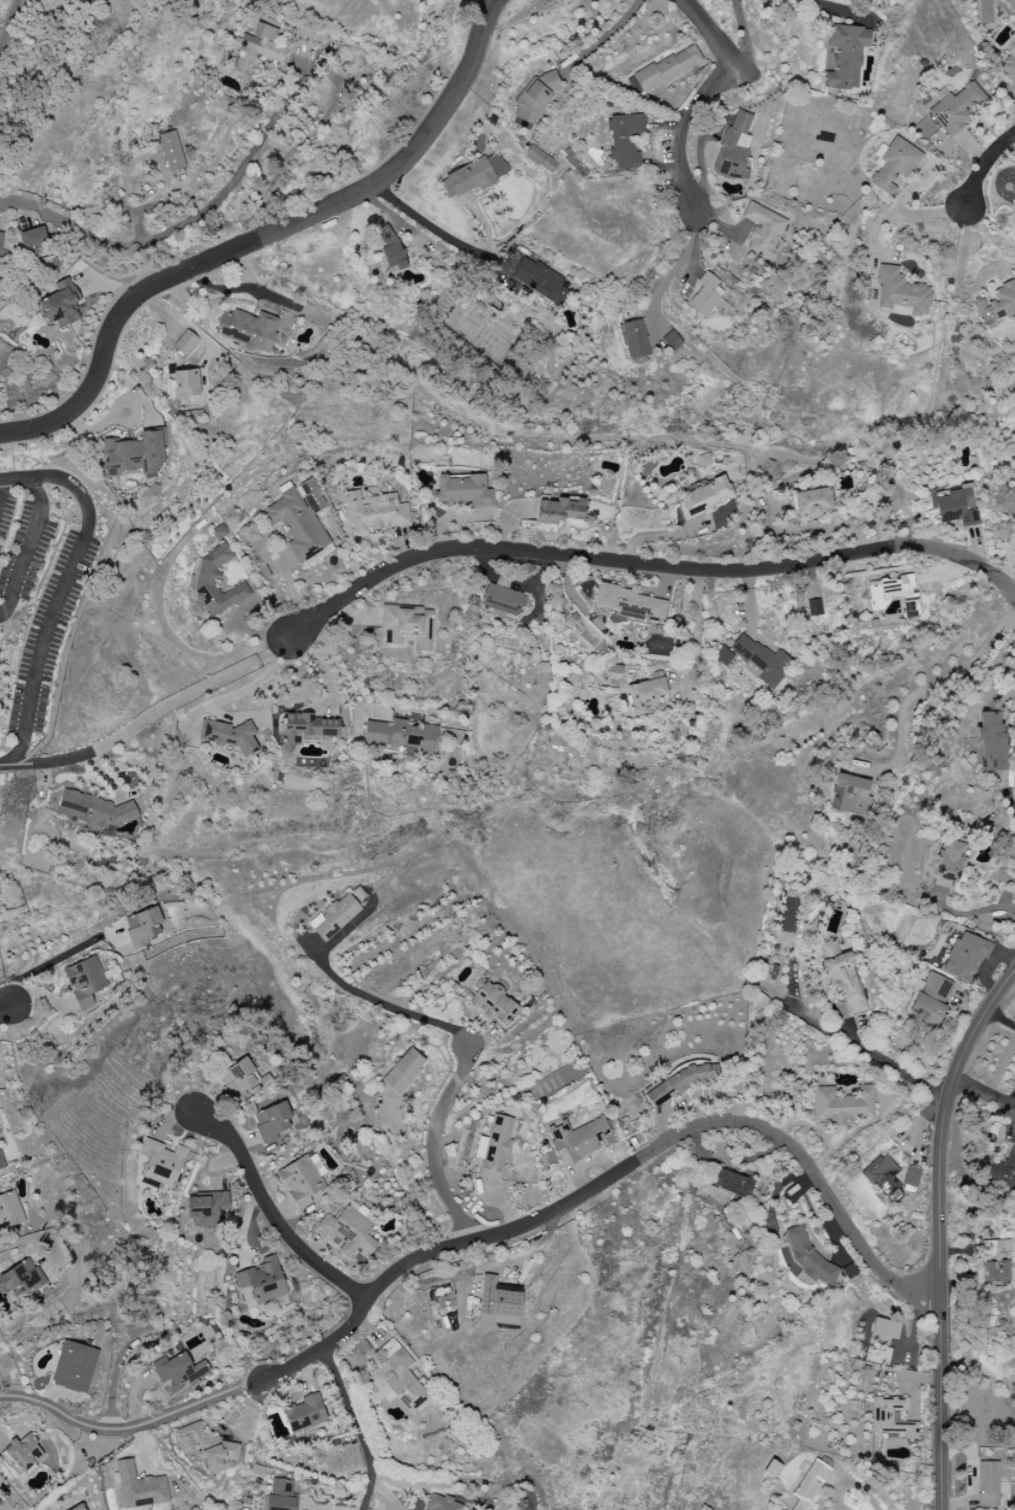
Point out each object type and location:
road: (7, 19)
road: (745, 41)
building: (255, 52)
building: (845, 56)
building: (1008, 66)
building: (667, 68)
road: (697, 105)
building: (955, 108)
building: (624, 140)
road: (1012, 146)
building: (735, 147)
building: (171, 151)
building: (540, 159)
building: (893, 165)
building: (476, 174)
road: (978, 178)
road: (891, 212)
road: (965, 220)
road: (442, 226)
building: (764, 231)
road: (167, 233)
road: (258, 235)
building: (0, 237)
building: (32, 237)
road: (875, 239)
building: (389, 248)
road: (889, 256)
road: (679, 264)
building: (537, 278)
road: (960, 289)
road: (230, 290)
building: (900, 292)
building: (704, 295)
building: (59, 305)
building: (997, 305)
building: (248, 329)
building: (634, 339)
building: (671, 341)
building: (185, 342)
building: (186, 384)
building: (133, 454)
road: (17, 483)
building: (462, 491)
building: (1012, 493)
road: (4, 496)
building: (704, 497)
building: (811, 502)
building: (954, 506)
building: (559, 511)
building: (373, 512)
building: (301, 521)
road: (813, 527)
building: (219, 532)
road: (85, 537)
road: (631, 562)
building: (204, 579)
building: (892, 592)
road: (293, 596)
building: (501, 600)
building: (628, 603)
building: (814, 607)
building: (407, 626)
road: (698, 630)
road: (249, 632)
building: (722, 656)
building: (760, 661)
road: (318, 664)
road: (336, 670)
road: (941, 678)
road: (242, 690)
building: (641, 696)
road: (176, 705)
building: (304, 729)
building: (228, 736)
building: (401, 736)
building: (990, 741)
road: (47, 763)
road: (100, 773)
building: (850, 796)
building: (94, 810)
building: (950, 861)
building: (337, 914)
building: (142, 926)
building: (965, 956)
road: (56, 959)
building: (842, 976)
building: (84, 979)
building: (930, 998)
building: (492, 1002)
road: (382, 1005)
road: (7, 1007)
road: (881, 1063)
building: (403, 1071)
building: (237, 1079)
building: (677, 1084)
road: (983, 1090)
building: (842, 1104)
building: (271, 1121)
building: (578, 1139)
road: (433, 1144)
building: (494, 1149)
road: (649, 1154)
building: (161, 1162)
building: (1004, 1170)
building: (883, 1174)
building: (911, 1177)
building: (302, 1179)
building: (731, 1183)
building: (205, 1209)
building: (9, 1211)
road: (273, 1214)
road: (940, 1228)
building: (349, 1231)
road: (33, 1237)
building: (989, 1248)
building: (205, 1262)
building: (849, 1270)
building: (991, 1273)
building: (20, 1279)
building: (263, 1281)
building: (498, 1302)
building: (884, 1331)
road: (297, 1364)
building: (74, 1367)
building: (178, 1371)
building: (395, 1379)
road: (256, 1382)
building: (304, 1413)
building: (892, 1418)
road: (360, 1427)
road: (123, 1428)
building: (204, 1448)
building: (24, 1453)
building: (988, 1484)
building: (809, 1485)
building: (139, 1487)
building: (281, 1496)
building: (441, 1503)
building: (79, 1508)

